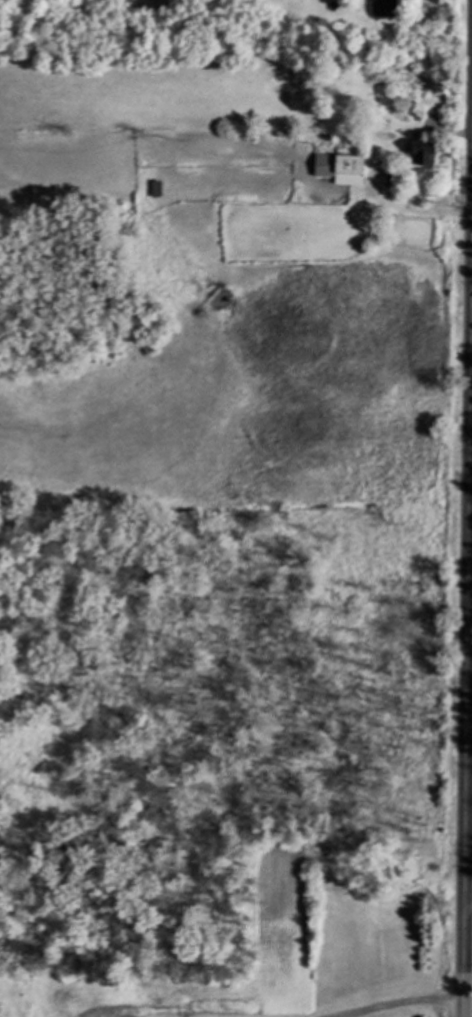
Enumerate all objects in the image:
building: (388, 11)
building: (423, 157)
building: (341, 171)
road: (467, 676)
road: (468, 905)
crop: (471, 987)
road: (398, 1001)

